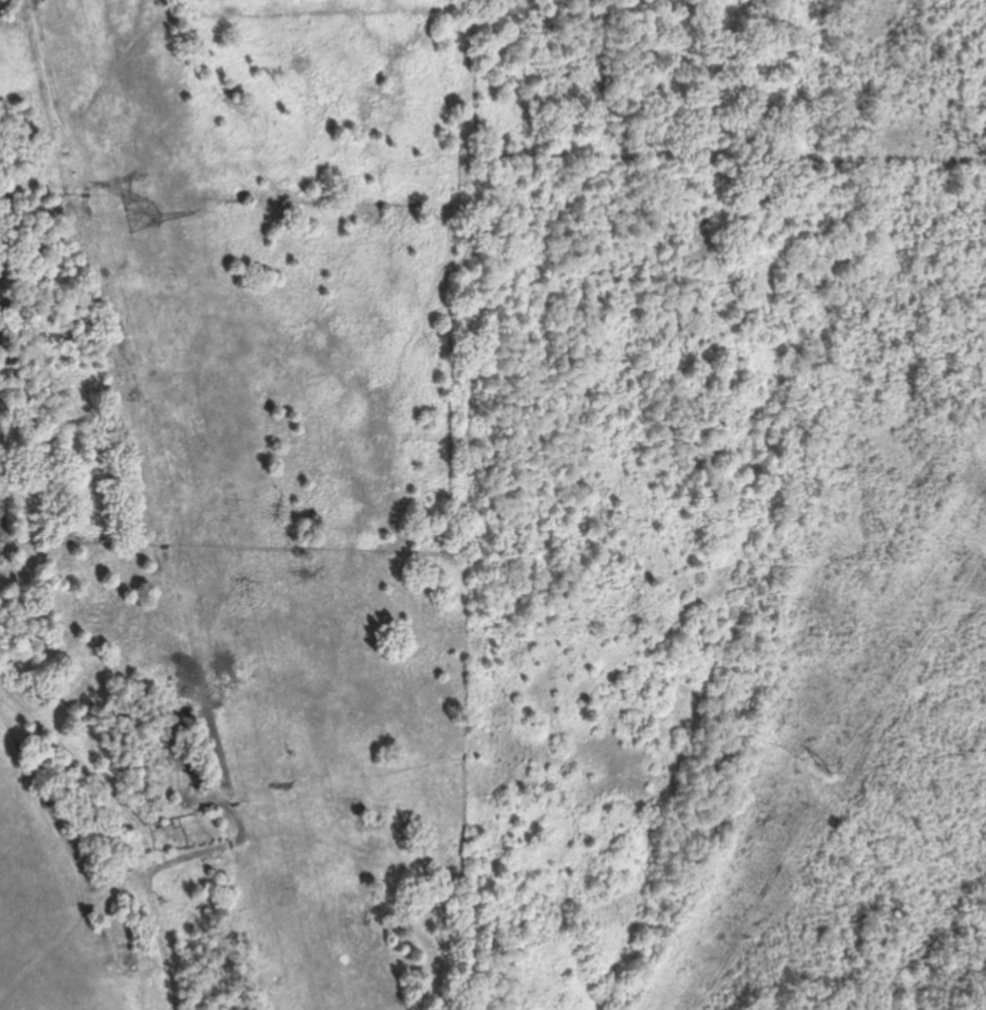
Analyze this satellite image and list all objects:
power tower: (142, 213)
power tower: (826, 768)

